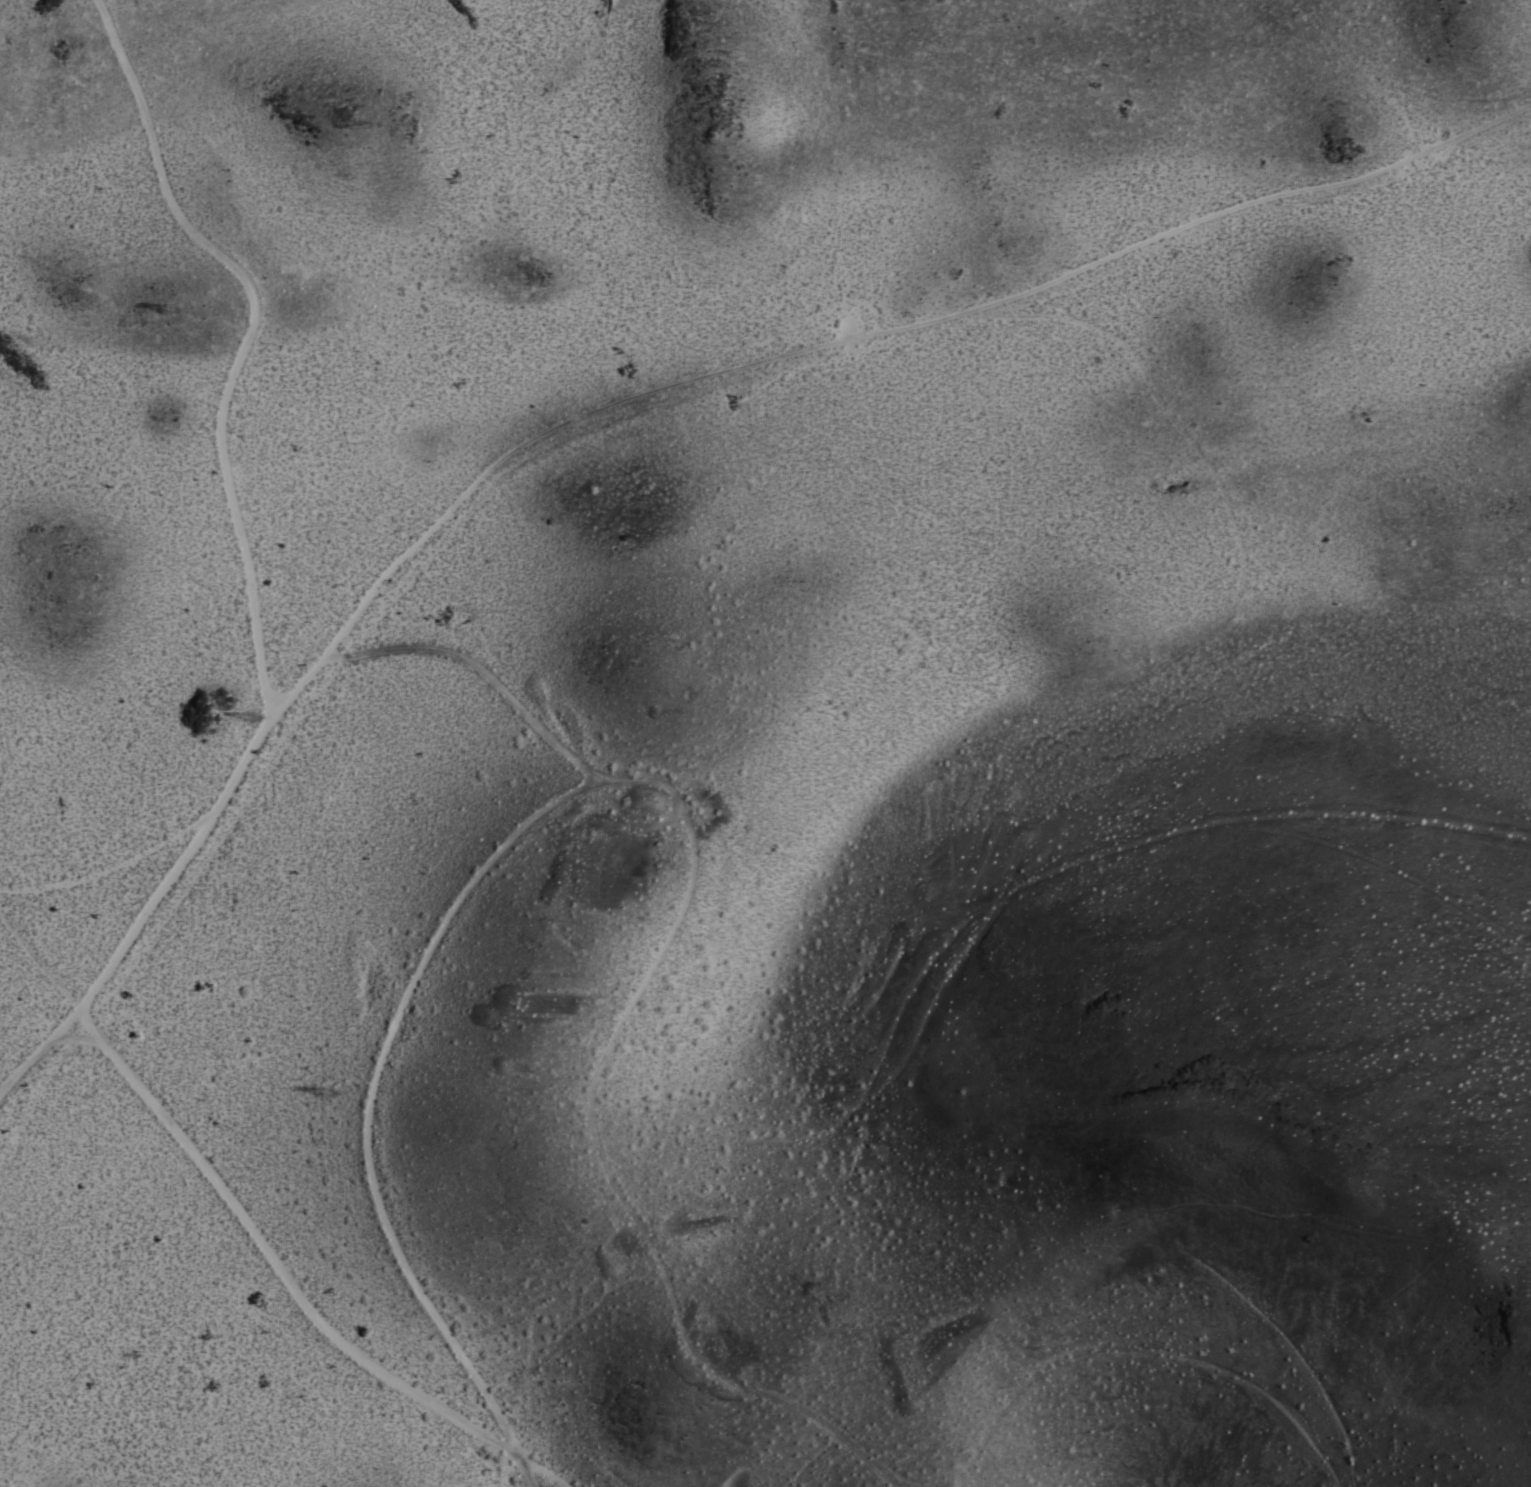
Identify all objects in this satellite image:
power tower: (170, 317)
road: (244, 341)
road: (629, 404)
road: (481, 668)
power tower: (250, 717)
road: (369, 1091)
power tower: (329, 1093)
road: (603, 1144)
road: (272, 1258)
road: (524, 1471)
road: (542, 1471)

